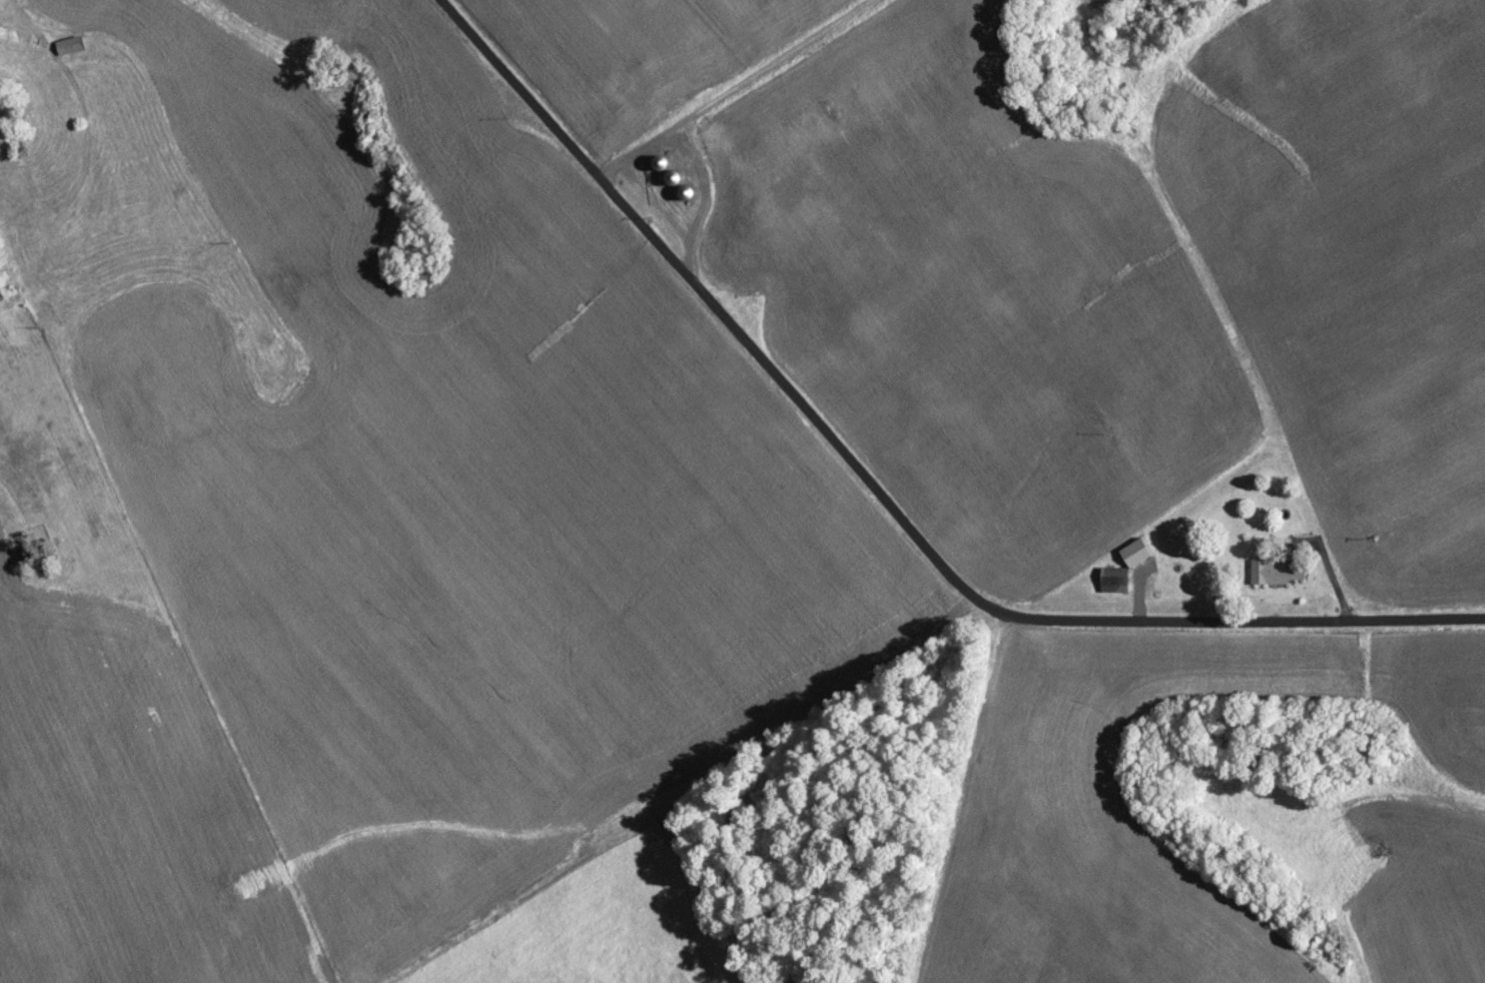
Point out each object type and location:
building: (75, 45)
road: (876, 492)

